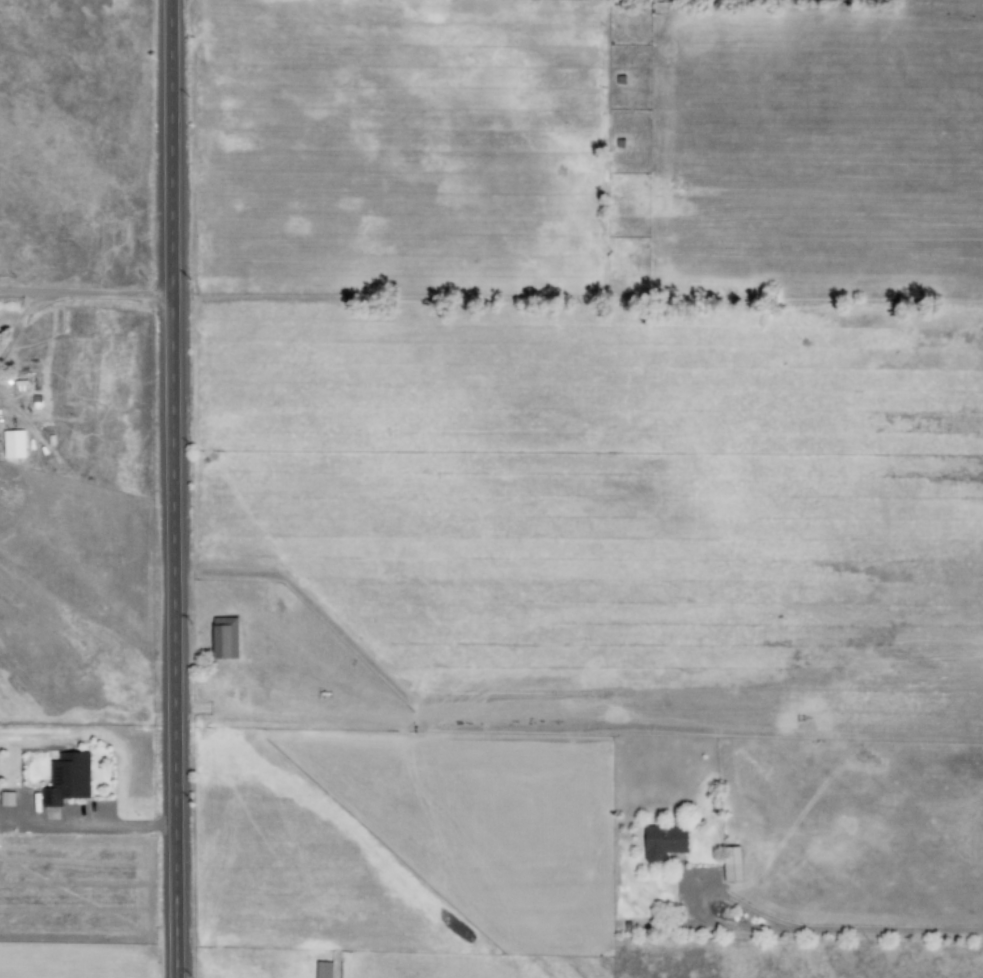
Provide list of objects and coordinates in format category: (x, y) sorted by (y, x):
building: (639, 1)
road: (85, 293)
building: (13, 444)
road: (170, 489)
building: (225, 638)
building: (67, 779)
building: (6, 799)
building: (663, 841)
building: (731, 864)
building: (323, 969)

